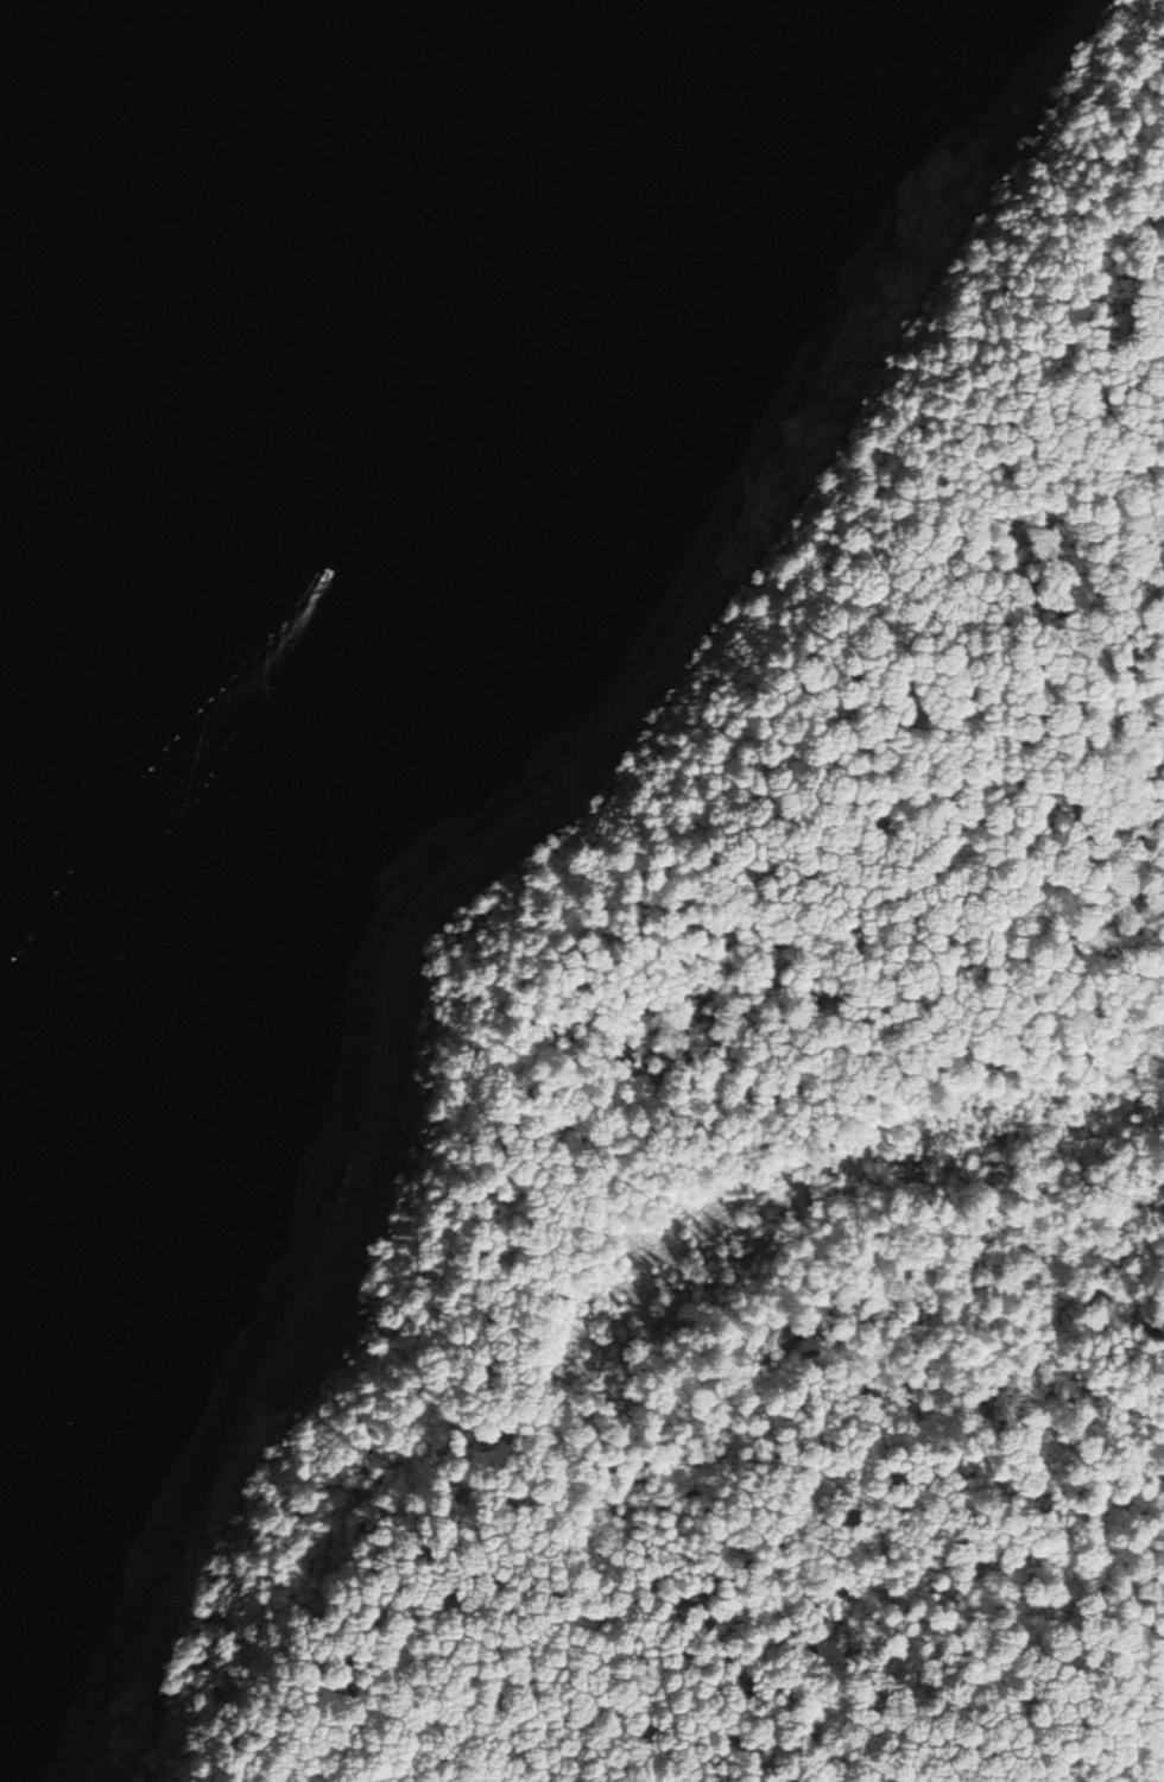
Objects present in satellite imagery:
road: (561, 961)
road: (367, 1768)

